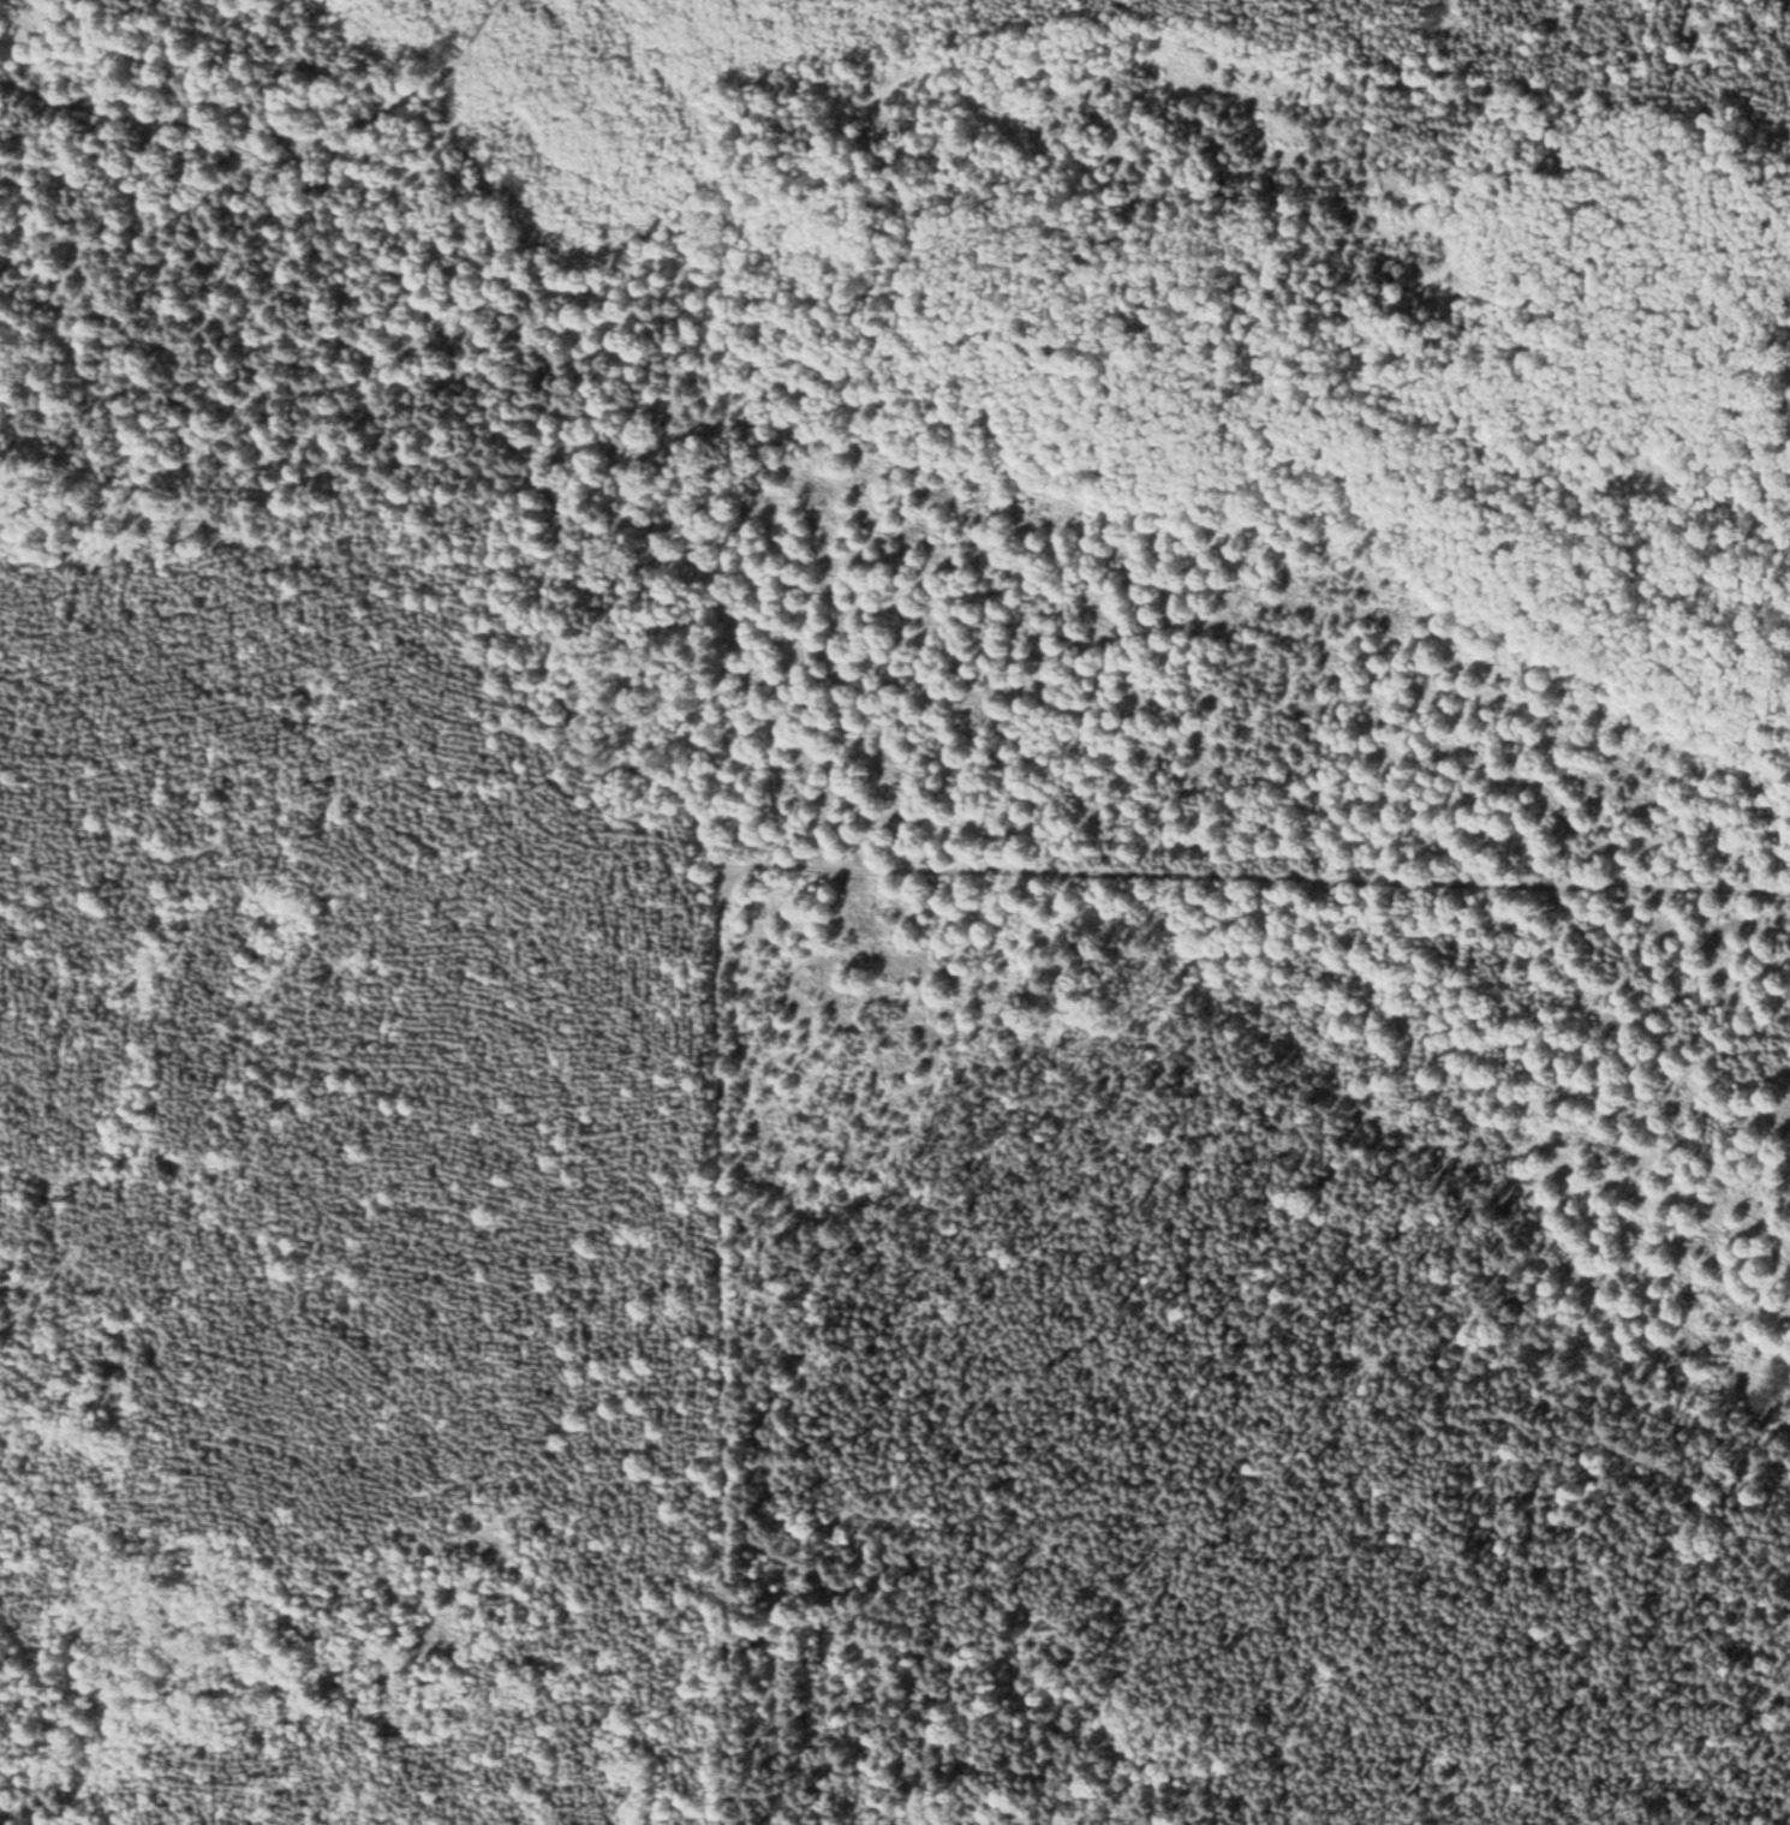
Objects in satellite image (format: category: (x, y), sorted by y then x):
road: (490, 376)
road: (777, 863)
road: (1384, 1698)

